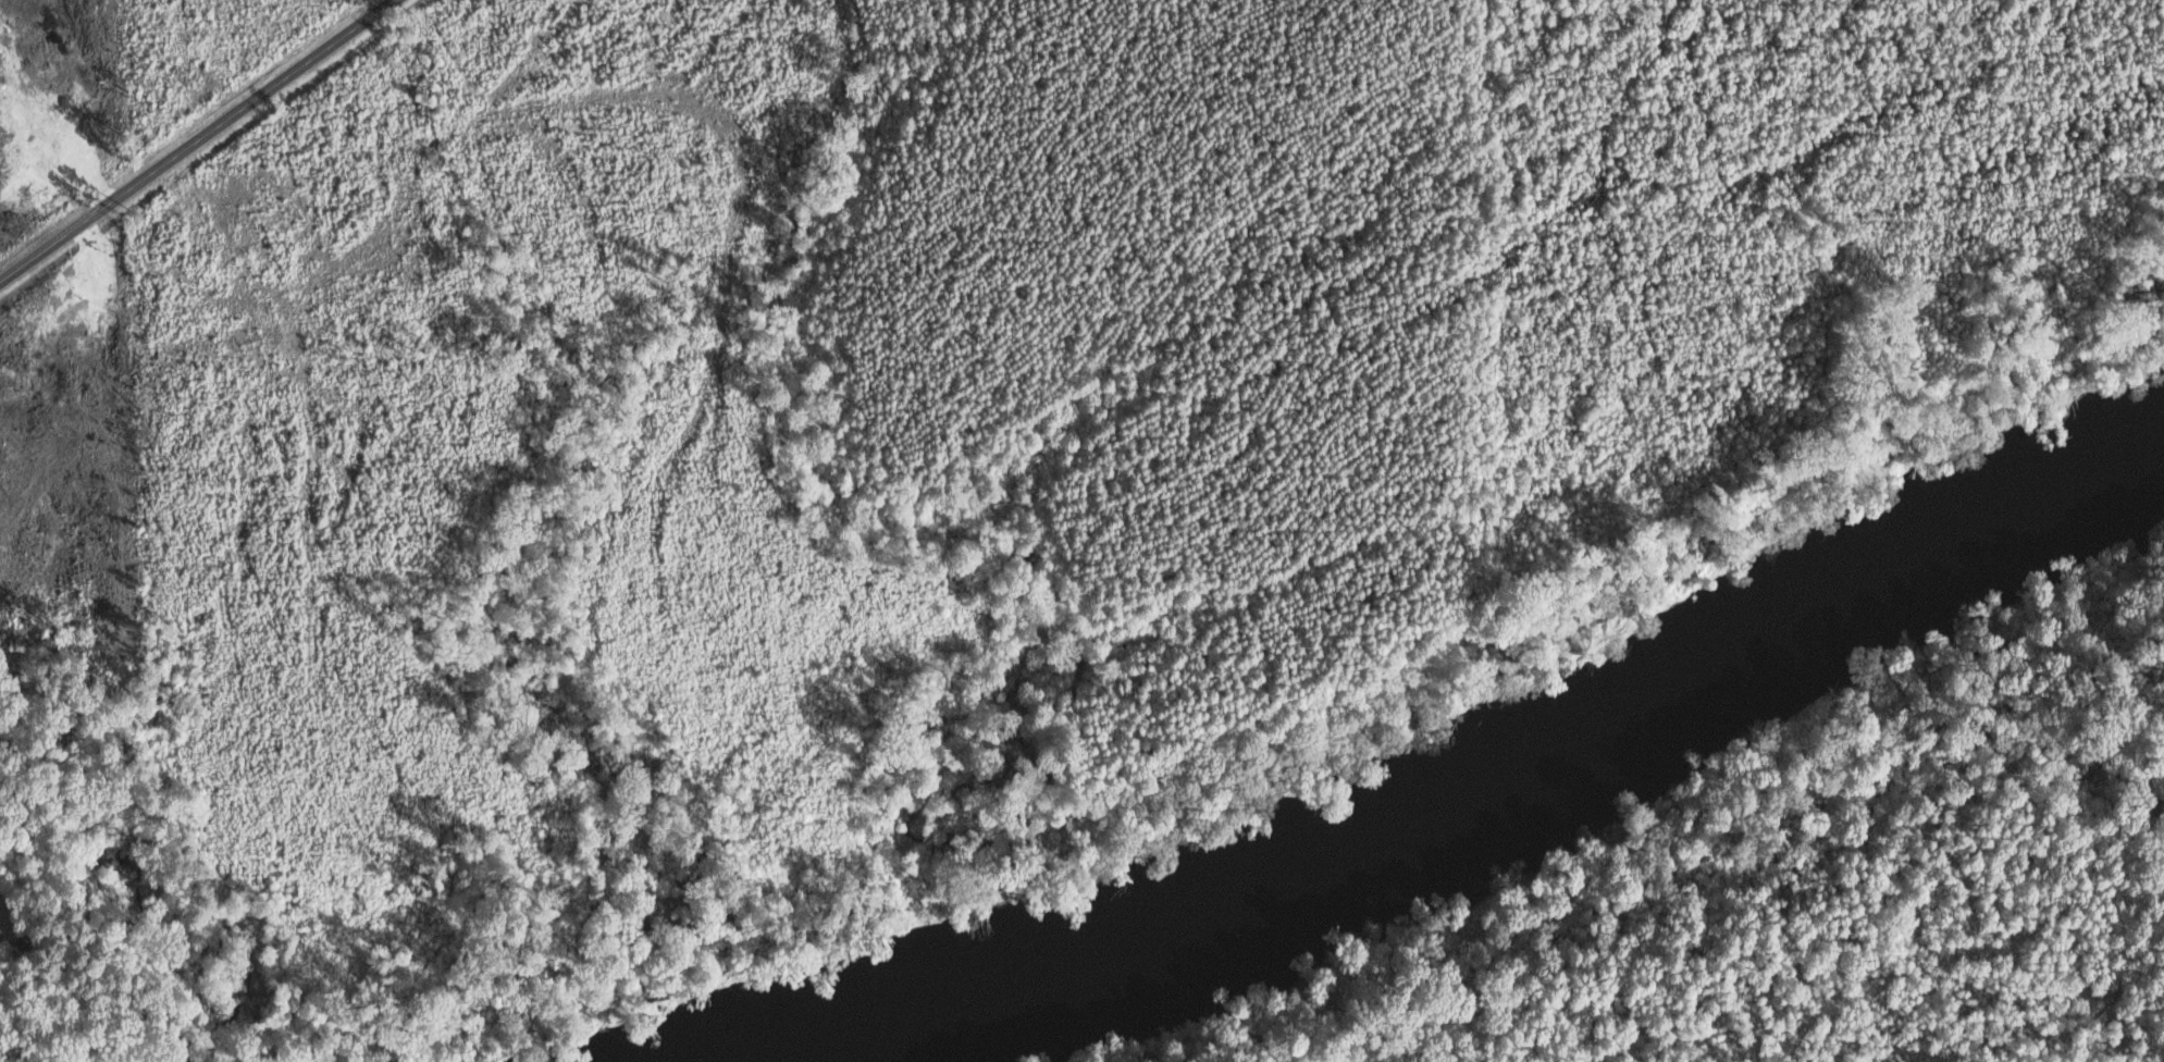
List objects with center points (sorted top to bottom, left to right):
road: (196, 141)
river: (1474, 799)

